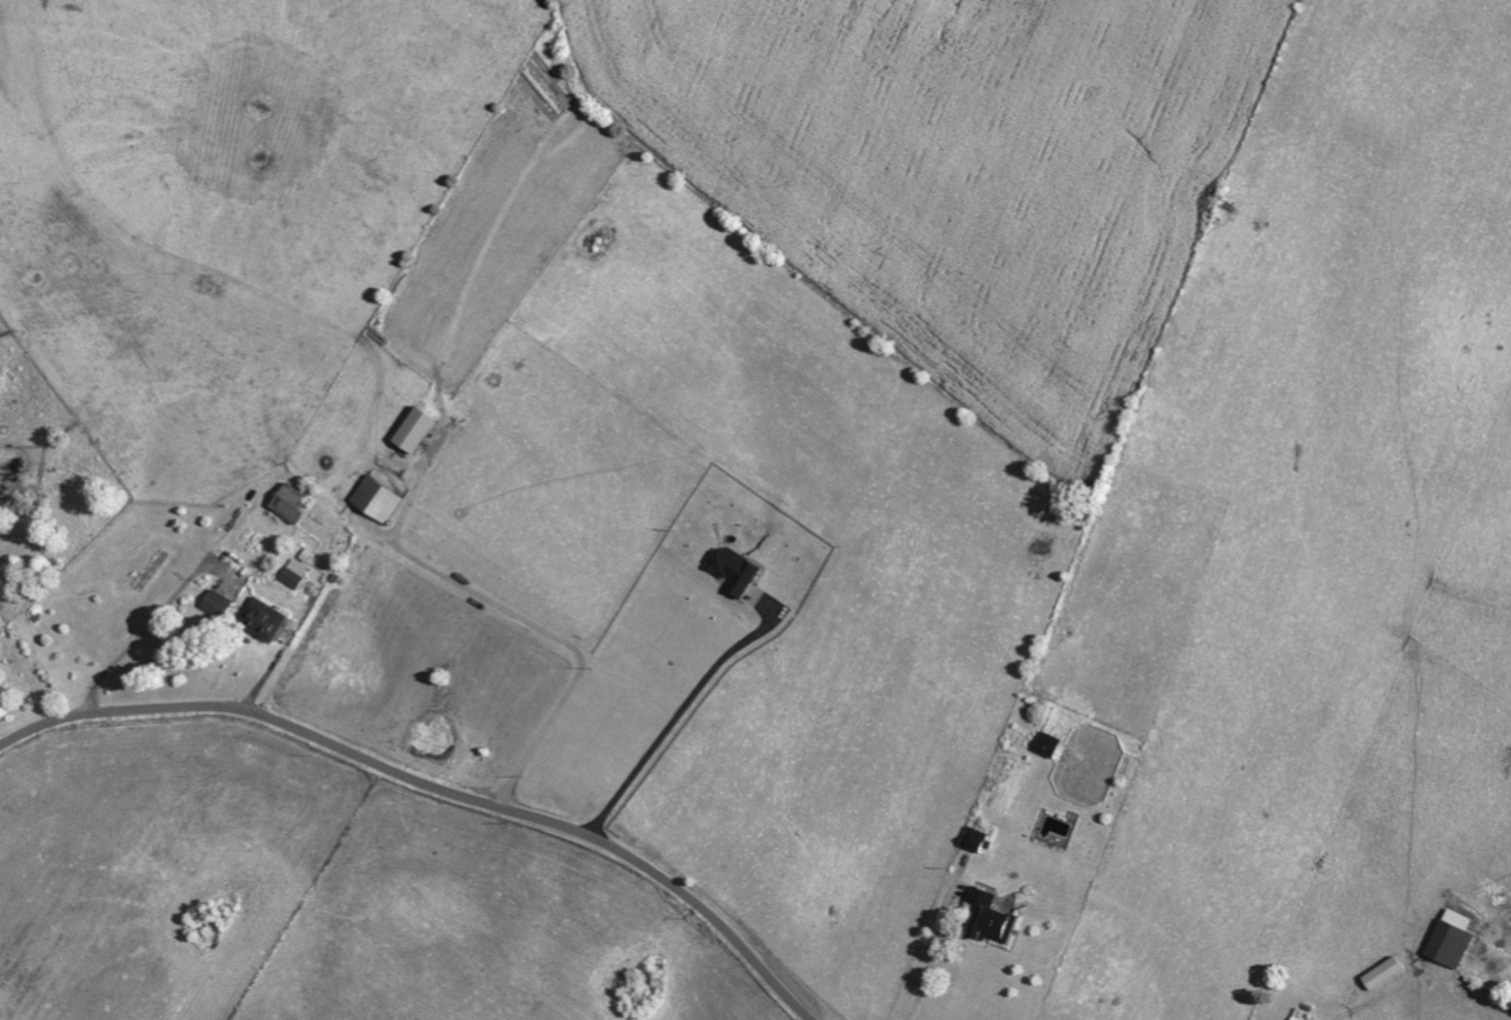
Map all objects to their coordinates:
building: (420, 430)
building: (381, 500)
building: (293, 504)
building: (738, 570)
building: (296, 574)
building: (220, 604)
building: (266, 620)
road: (148, 628)
road: (570, 645)
road: (259, 687)
road: (673, 718)
building: (1051, 745)
road: (432, 787)
building: (979, 841)
building: (995, 916)
building: (1454, 938)
road: (931, 958)
building: (1298, 1018)

